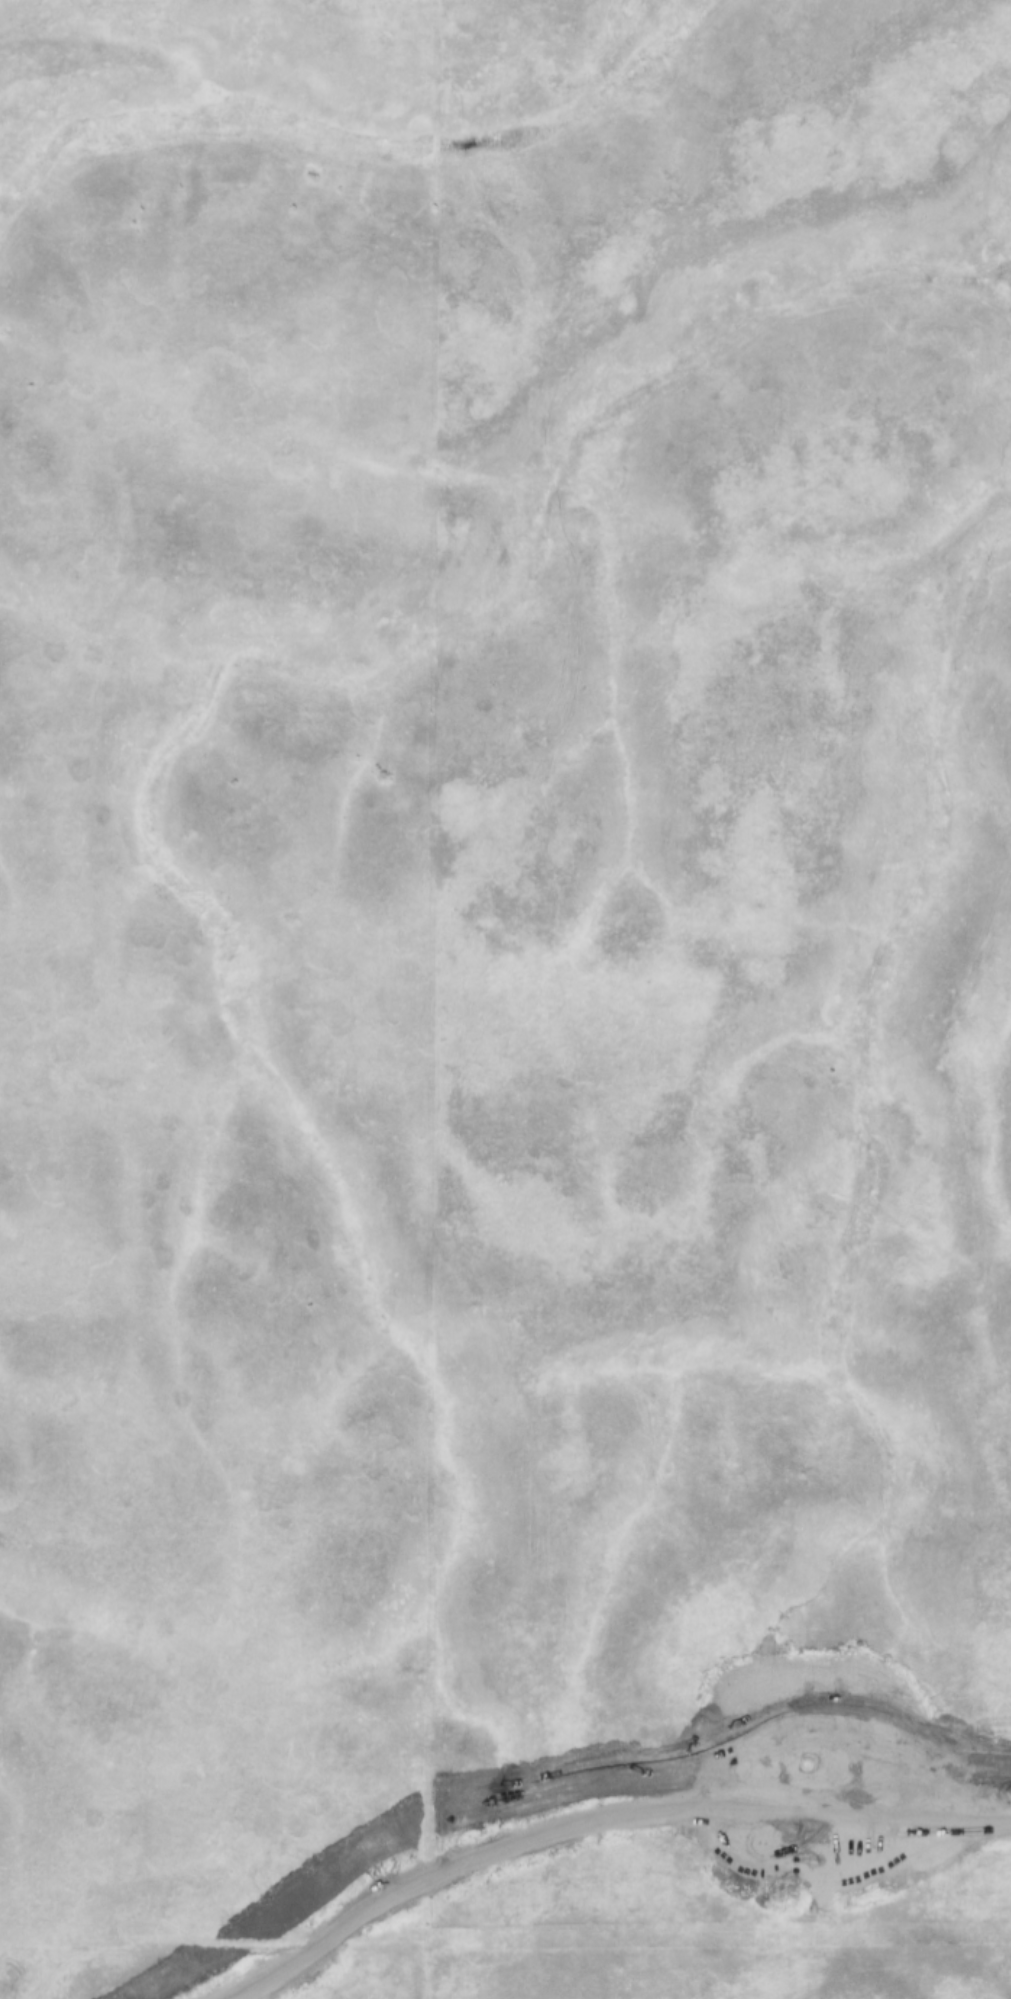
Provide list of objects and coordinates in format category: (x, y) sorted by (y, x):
wind turbine: (814, 1762)

